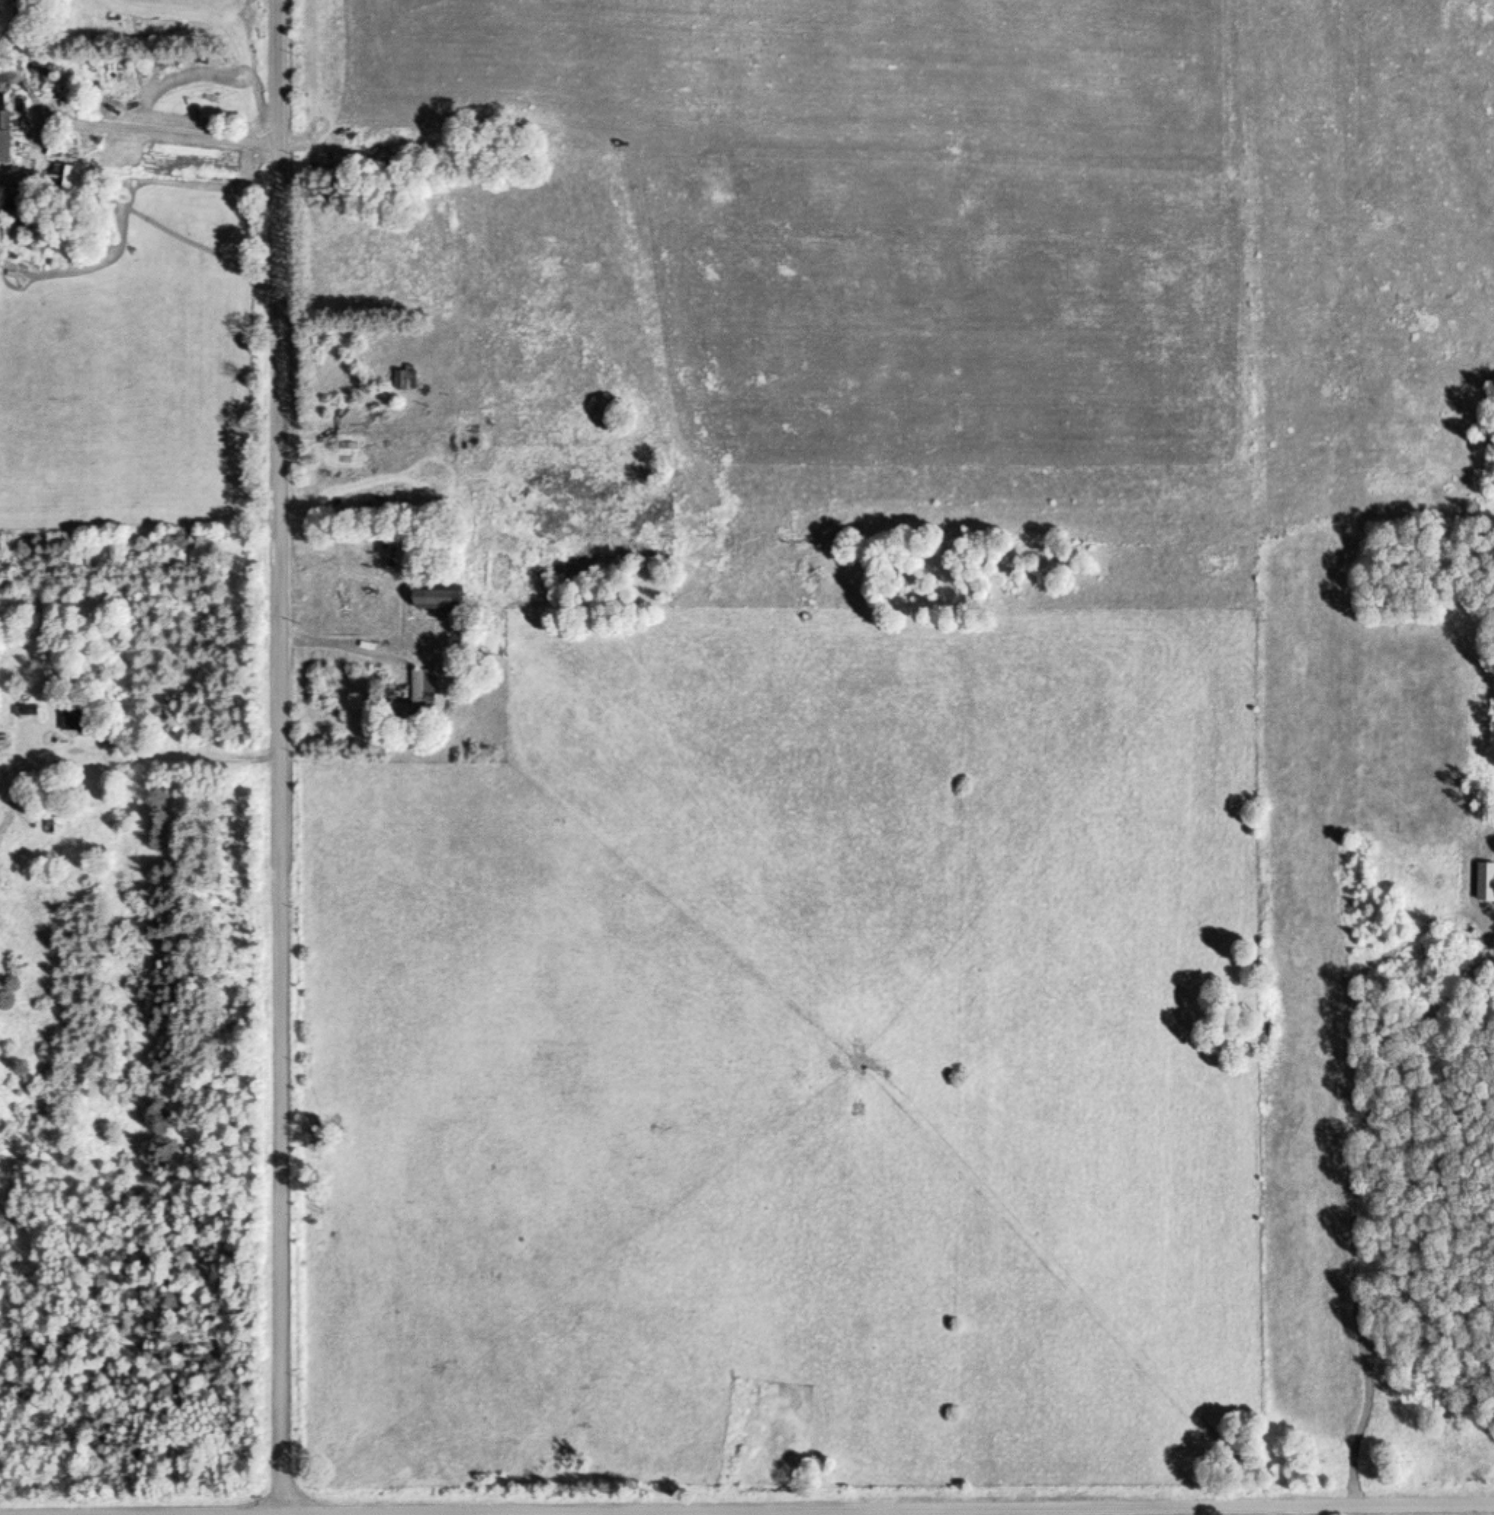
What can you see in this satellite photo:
building: (4, 137)
building: (60, 177)
building: (405, 380)
building: (432, 600)
building: (423, 690)
road: (285, 757)
road: (892, 1511)

